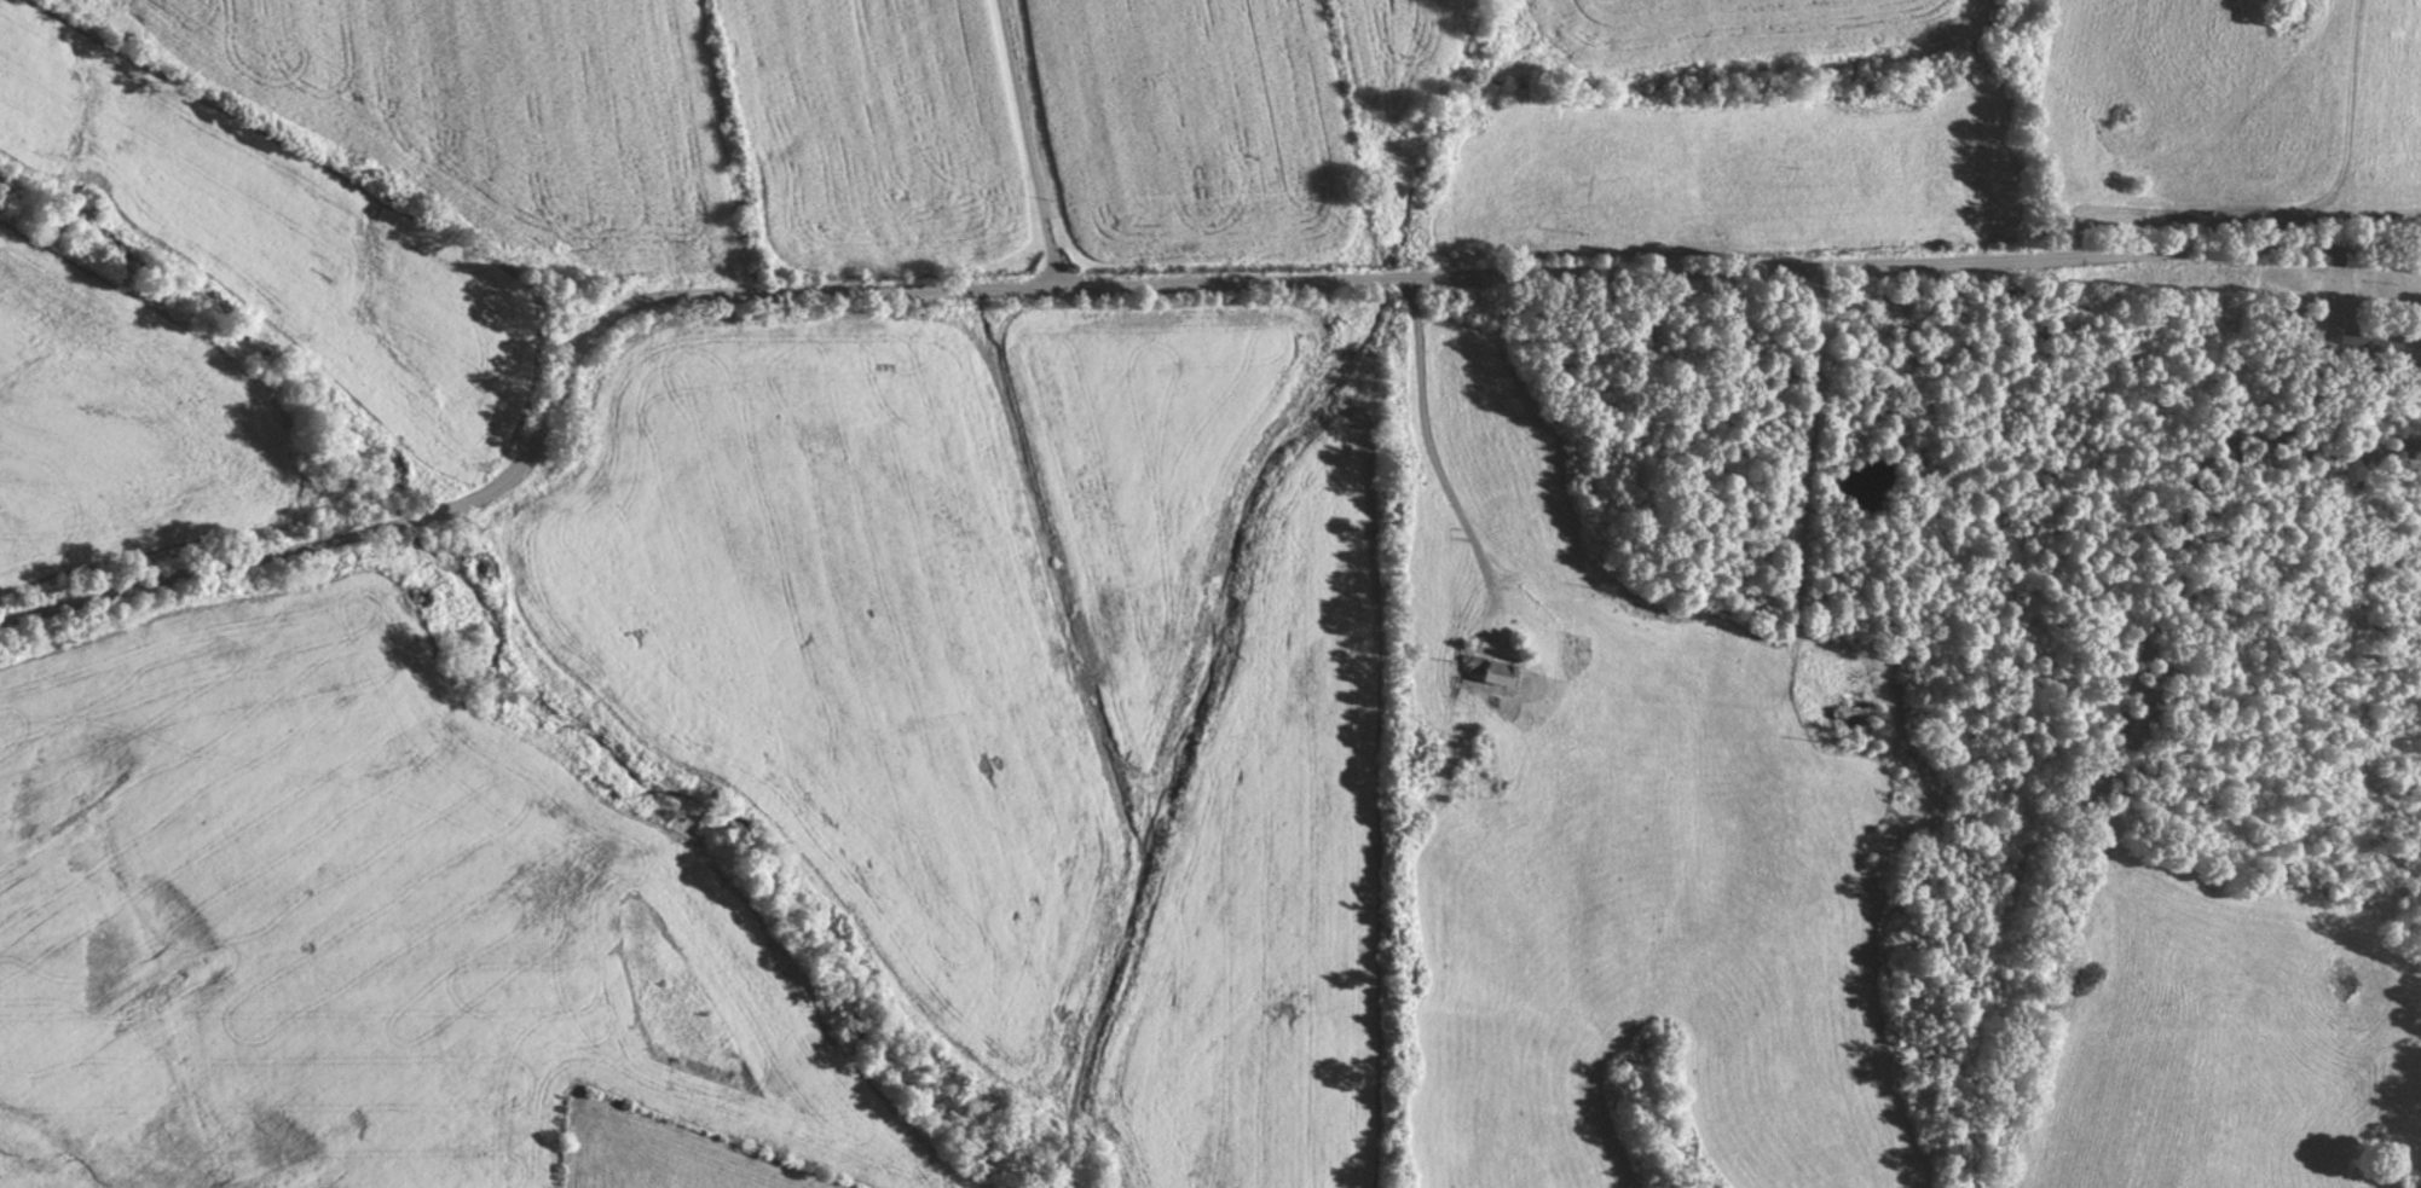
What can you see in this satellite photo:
road: (1027, 143)
road: (1154, 284)
building: (2367, 348)
road: (1429, 466)
road: (1805, 506)
building: (1485, 670)

